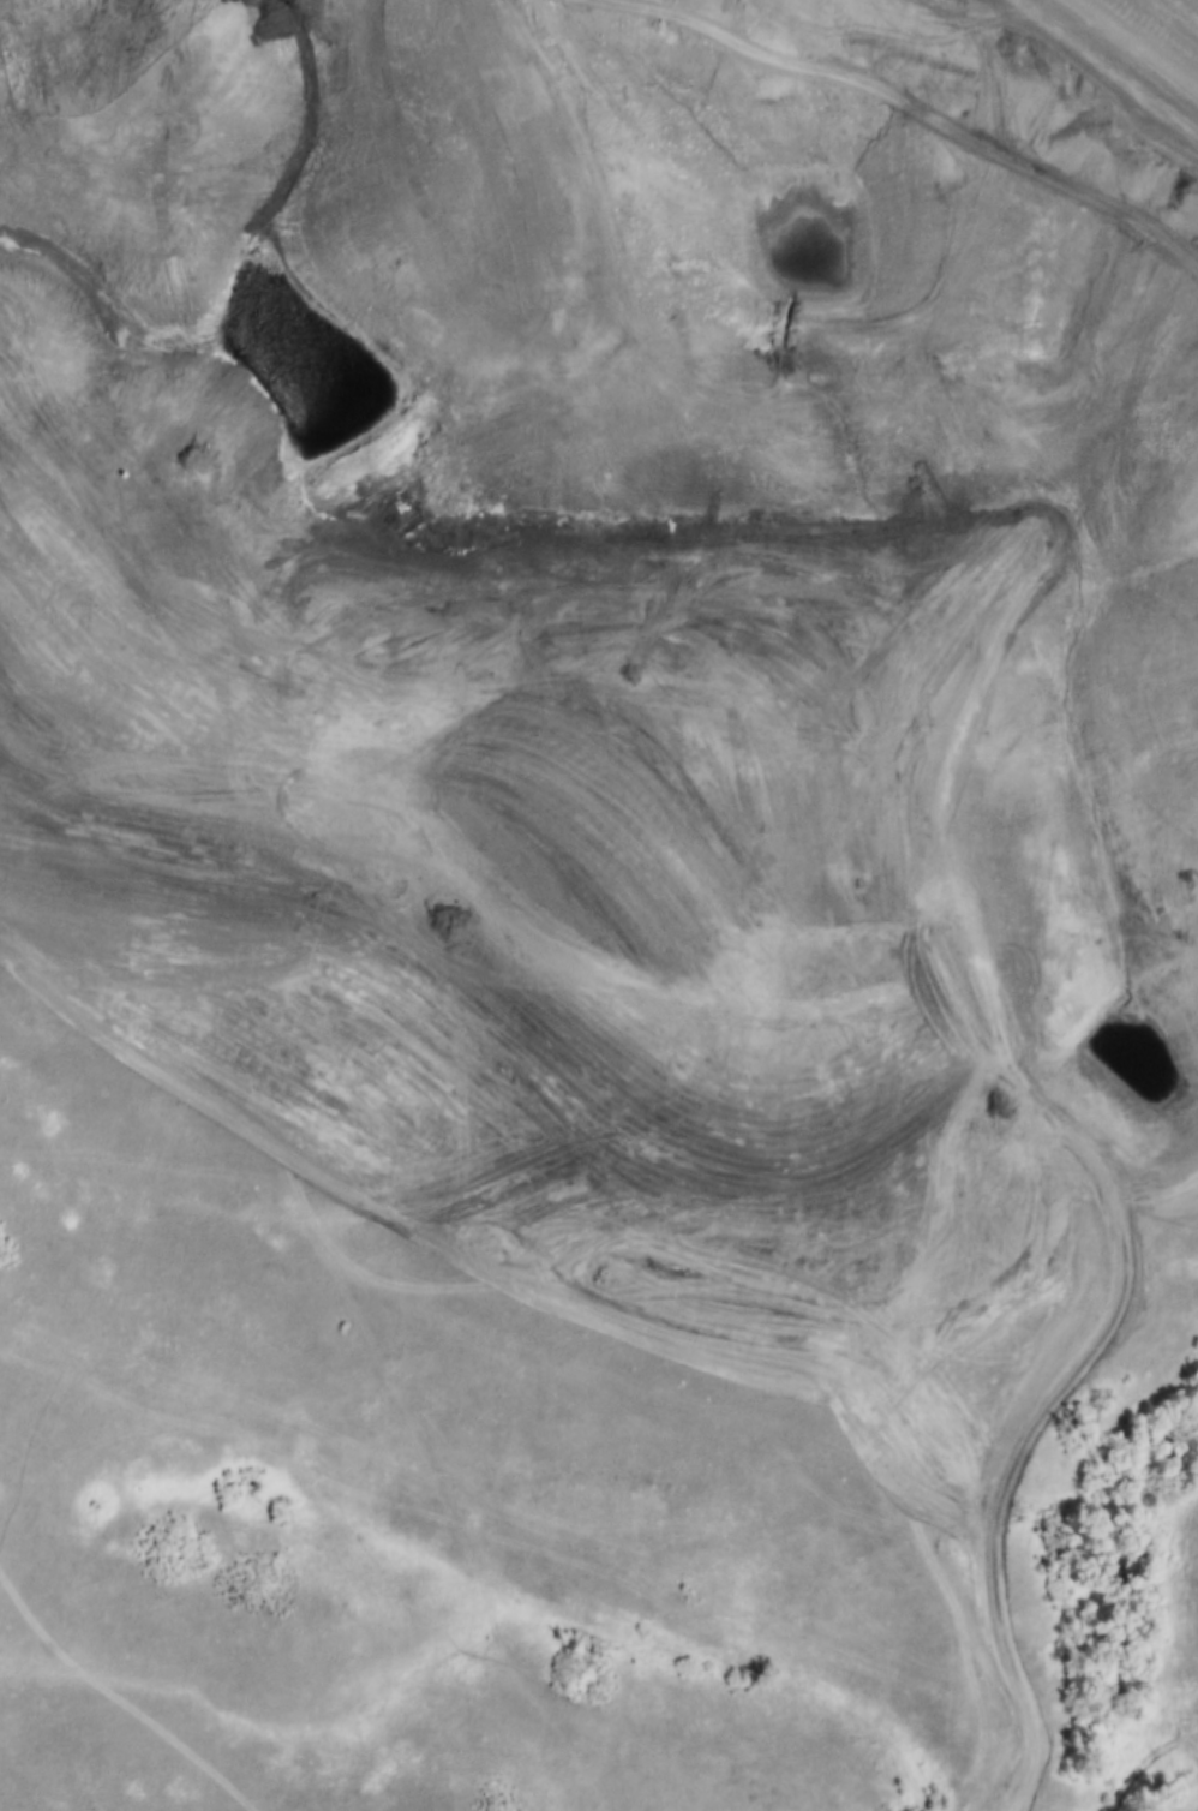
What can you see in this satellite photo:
road: (1175, 16)

